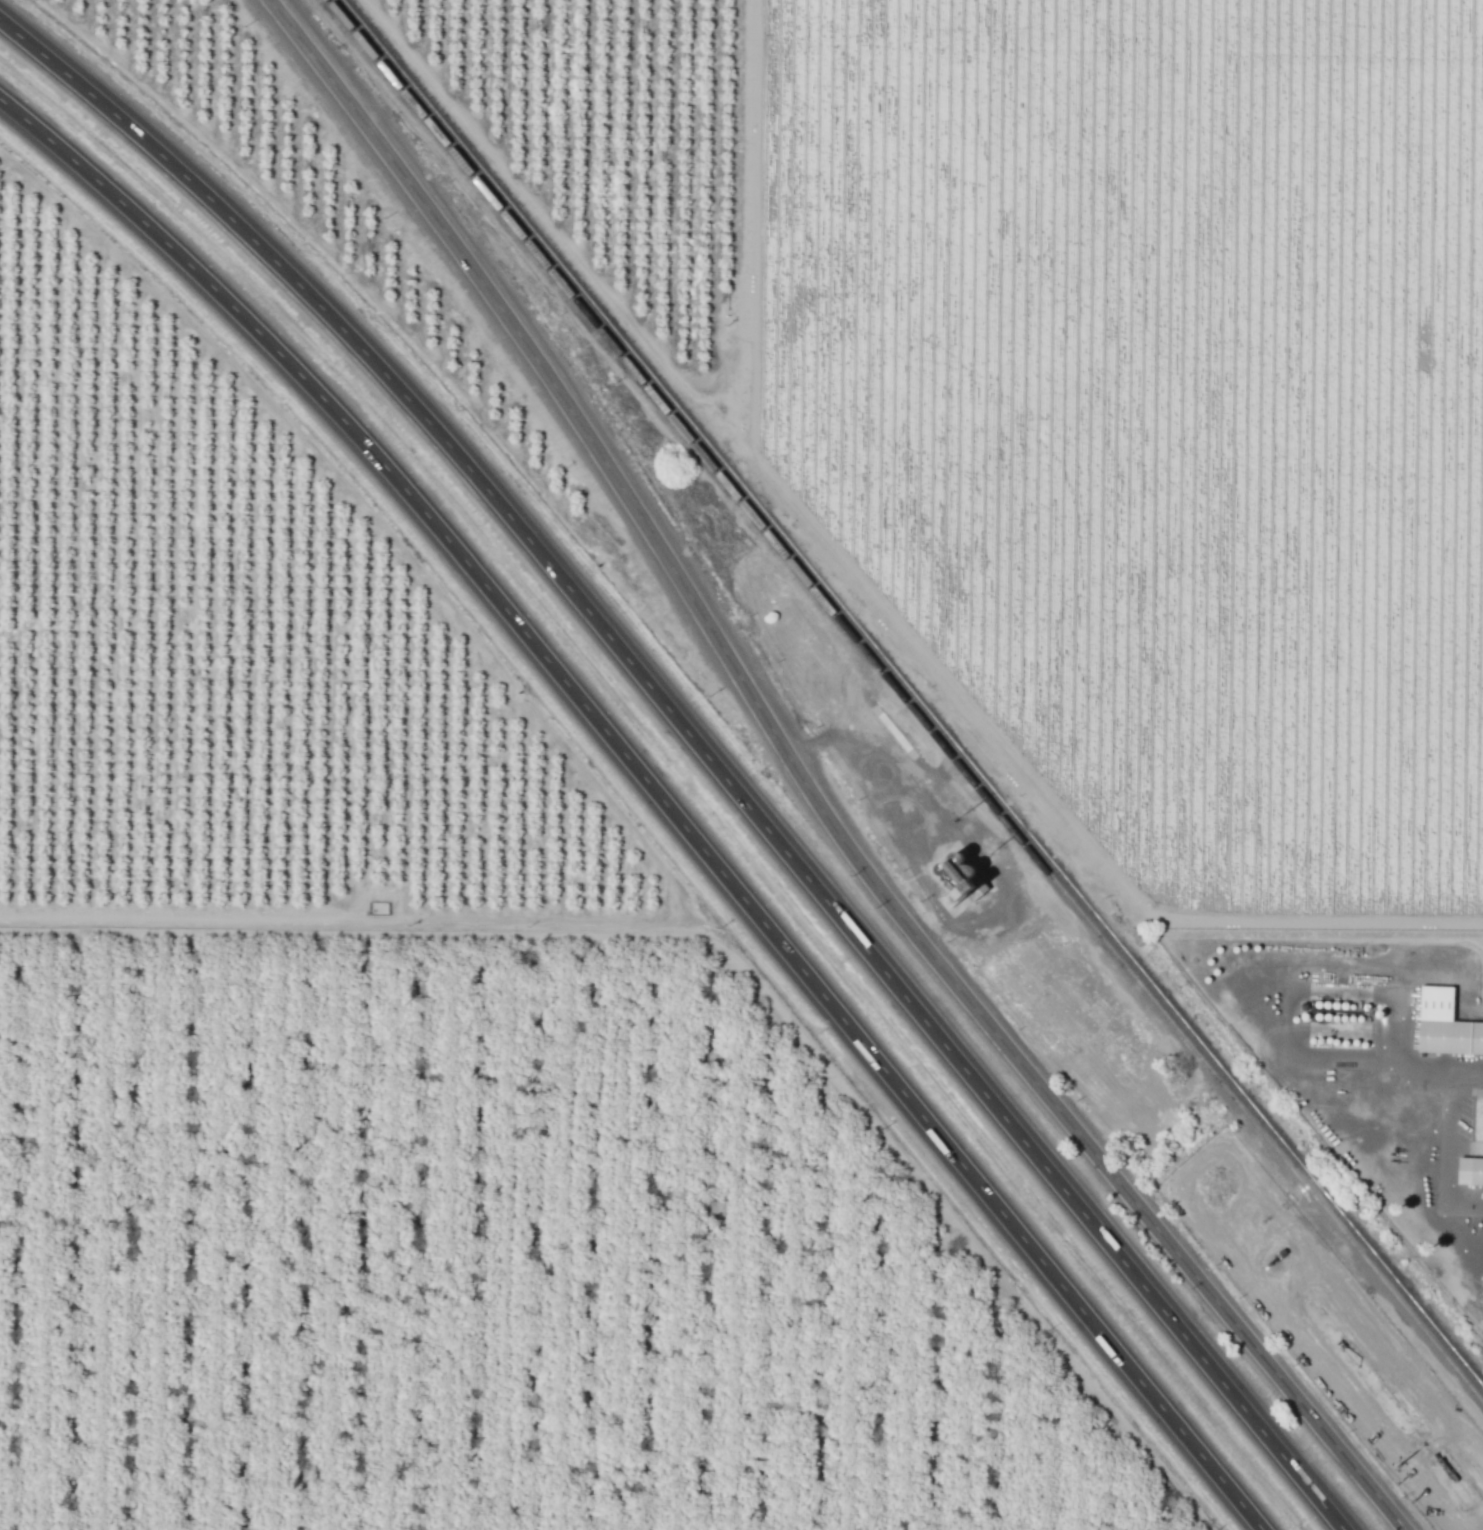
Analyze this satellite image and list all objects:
road: (952, 622)
railway: (909, 701)
road: (699, 750)
road: (801, 786)
road: (657, 794)
road: (1457, 973)
road: (1289, 1023)
building: (1447, 1025)
road: (1342, 1064)
building: (1472, 1170)

